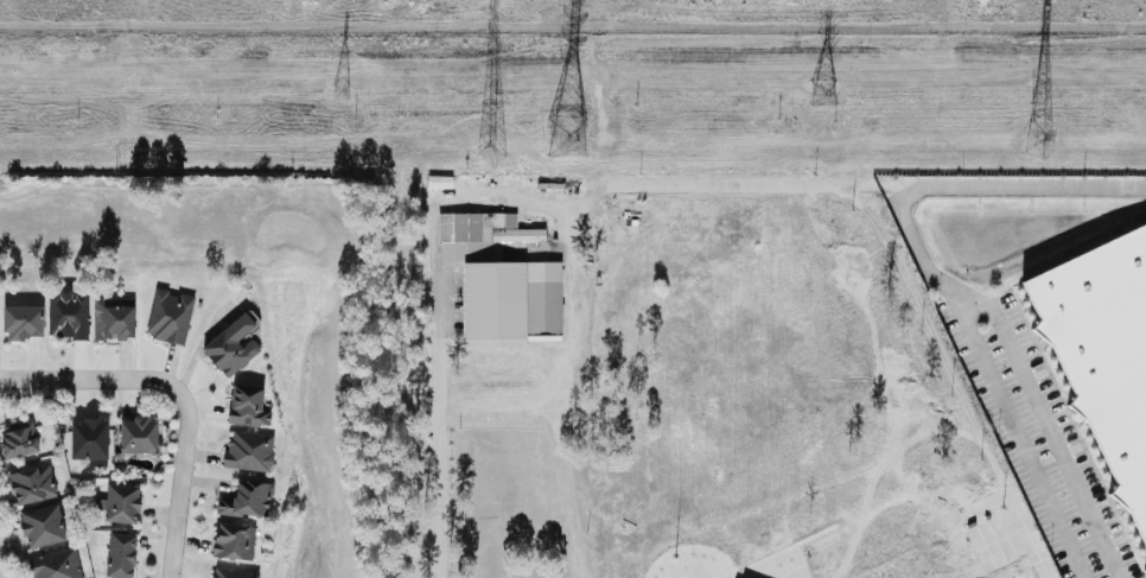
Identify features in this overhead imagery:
power tower: (825, 93)
power tower: (340, 96)
power tower: (567, 140)
power tower: (1038, 140)
power tower: (492, 155)
building: (441, 183)
road: (362, 208)
road: (560, 221)
building: (503, 279)
road: (941, 281)
building: (68, 311)
building: (170, 317)
building: (115, 319)
building: (25, 322)
road: (437, 322)
park: (276, 323)
building: (235, 344)
building: (1106, 350)
road: (180, 394)
building: (249, 406)
building: (140, 434)
building: (20, 439)
building: (91, 442)
building: (250, 451)
building: (33, 484)
building: (248, 500)
building: (125, 503)
building: (44, 526)
building: (235, 541)
building: (123, 555)
building: (57, 565)
building: (1145, 570)
building: (233, 573)

